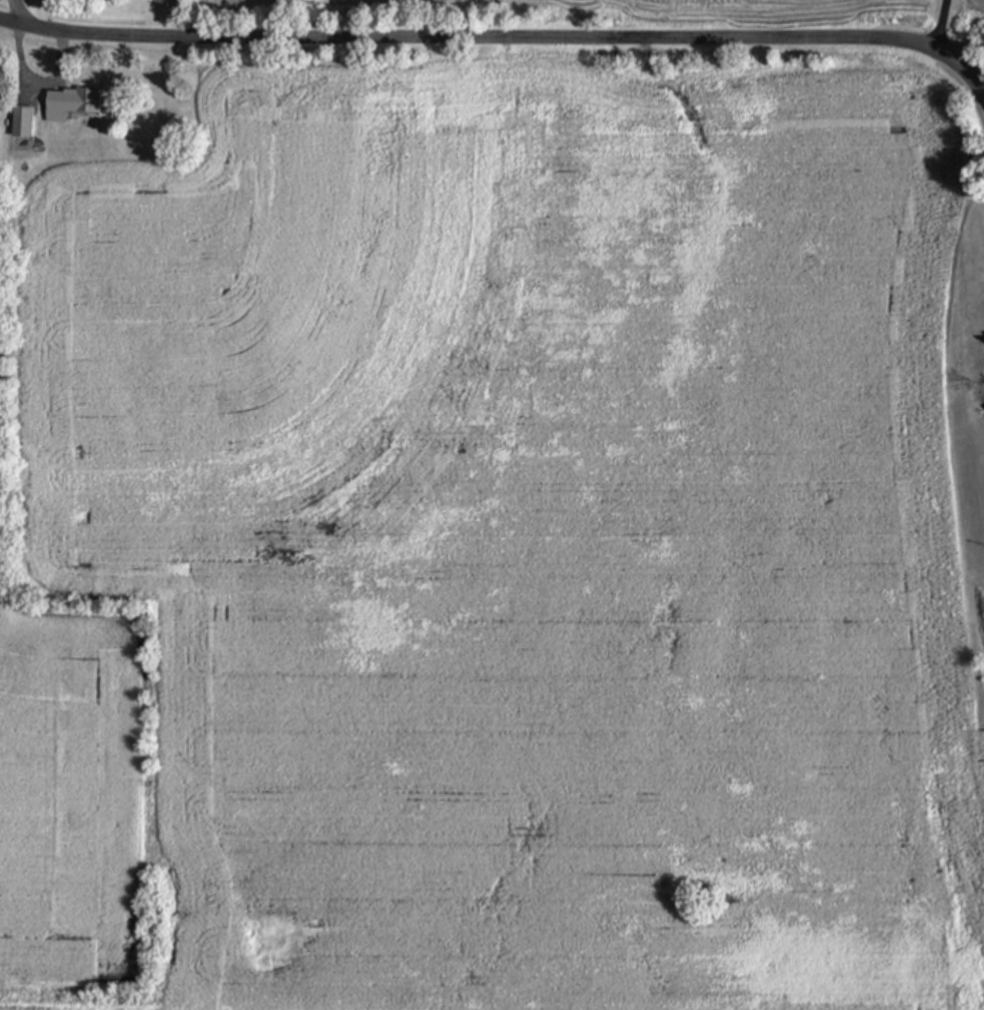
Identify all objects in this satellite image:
road: (11, 14)
road: (201, 19)
road: (937, 28)
road: (498, 39)
road: (36, 81)
building: (73, 106)
building: (22, 123)

